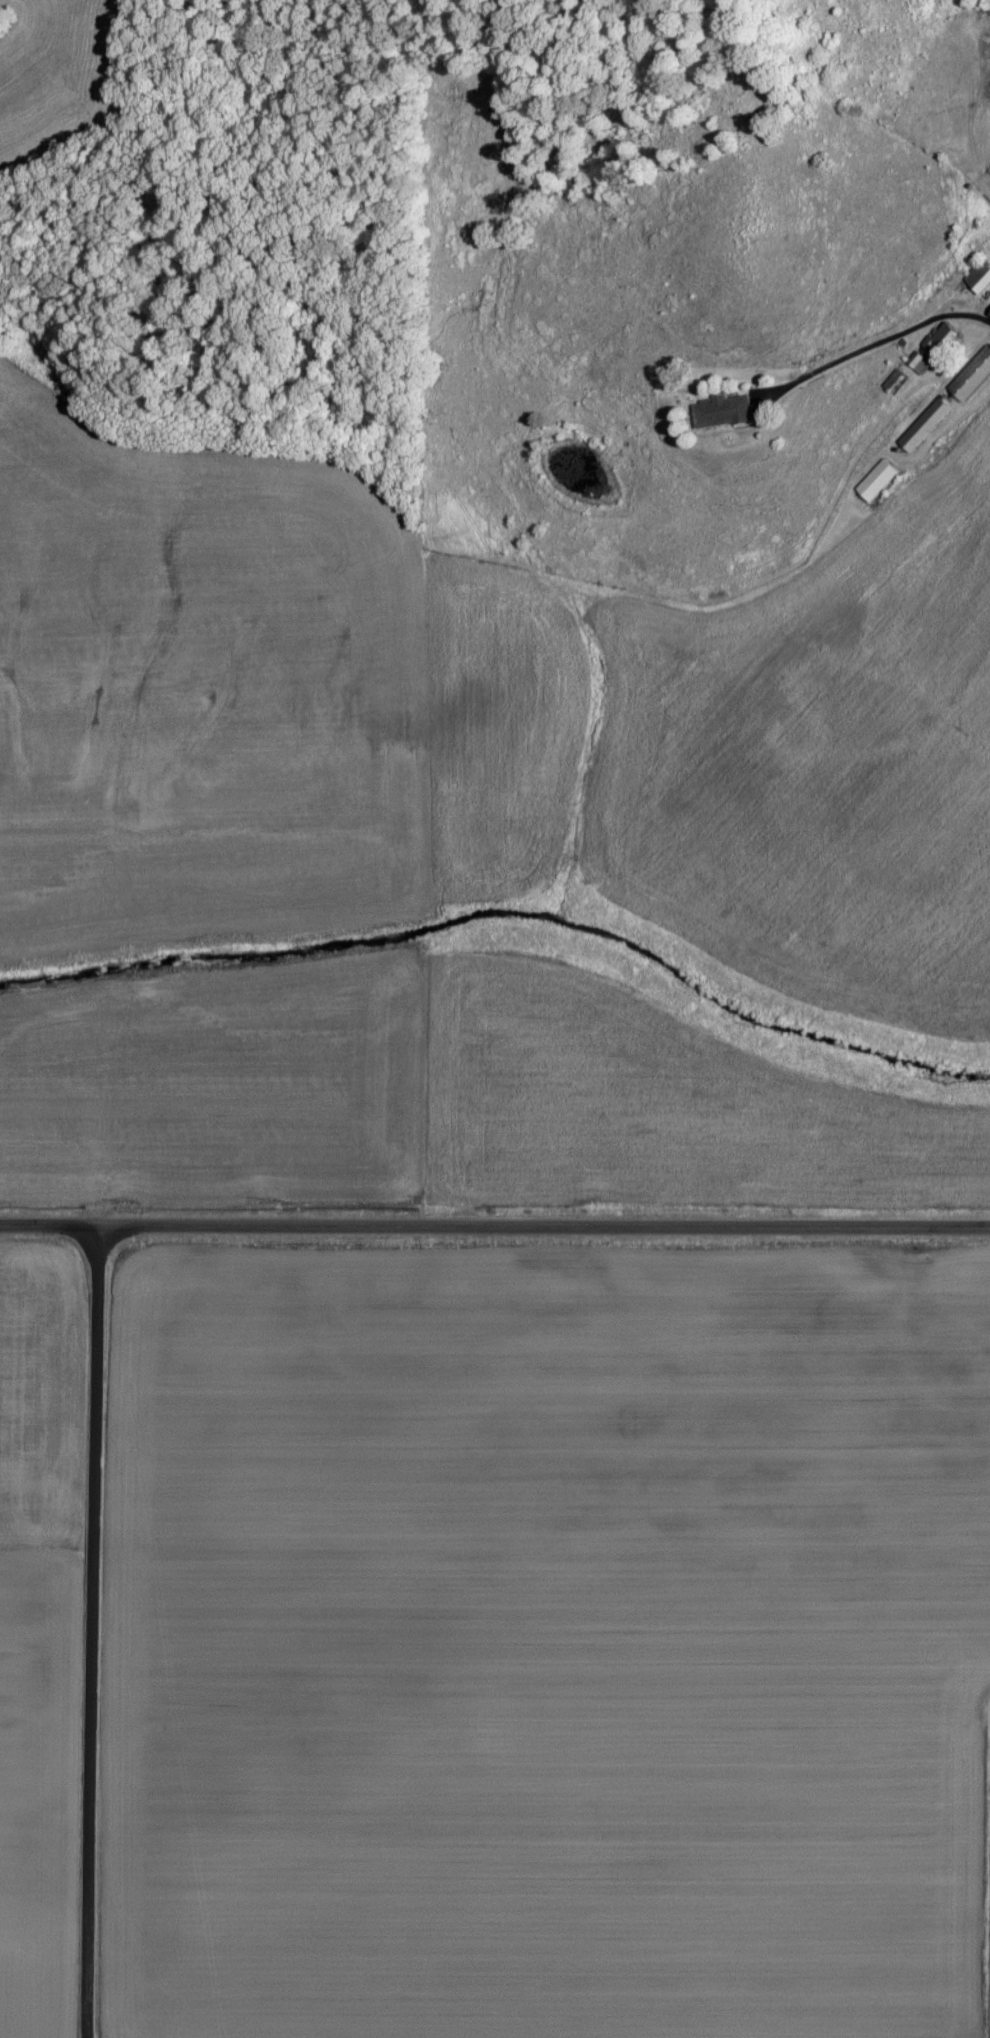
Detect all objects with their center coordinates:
building: (977, 275)
building: (989, 312)
building: (939, 337)
road: (875, 345)
building: (917, 362)
building: (971, 375)
building: (720, 411)
building: (923, 424)
building: (874, 479)
road: (494, 1225)
road: (90, 1631)

